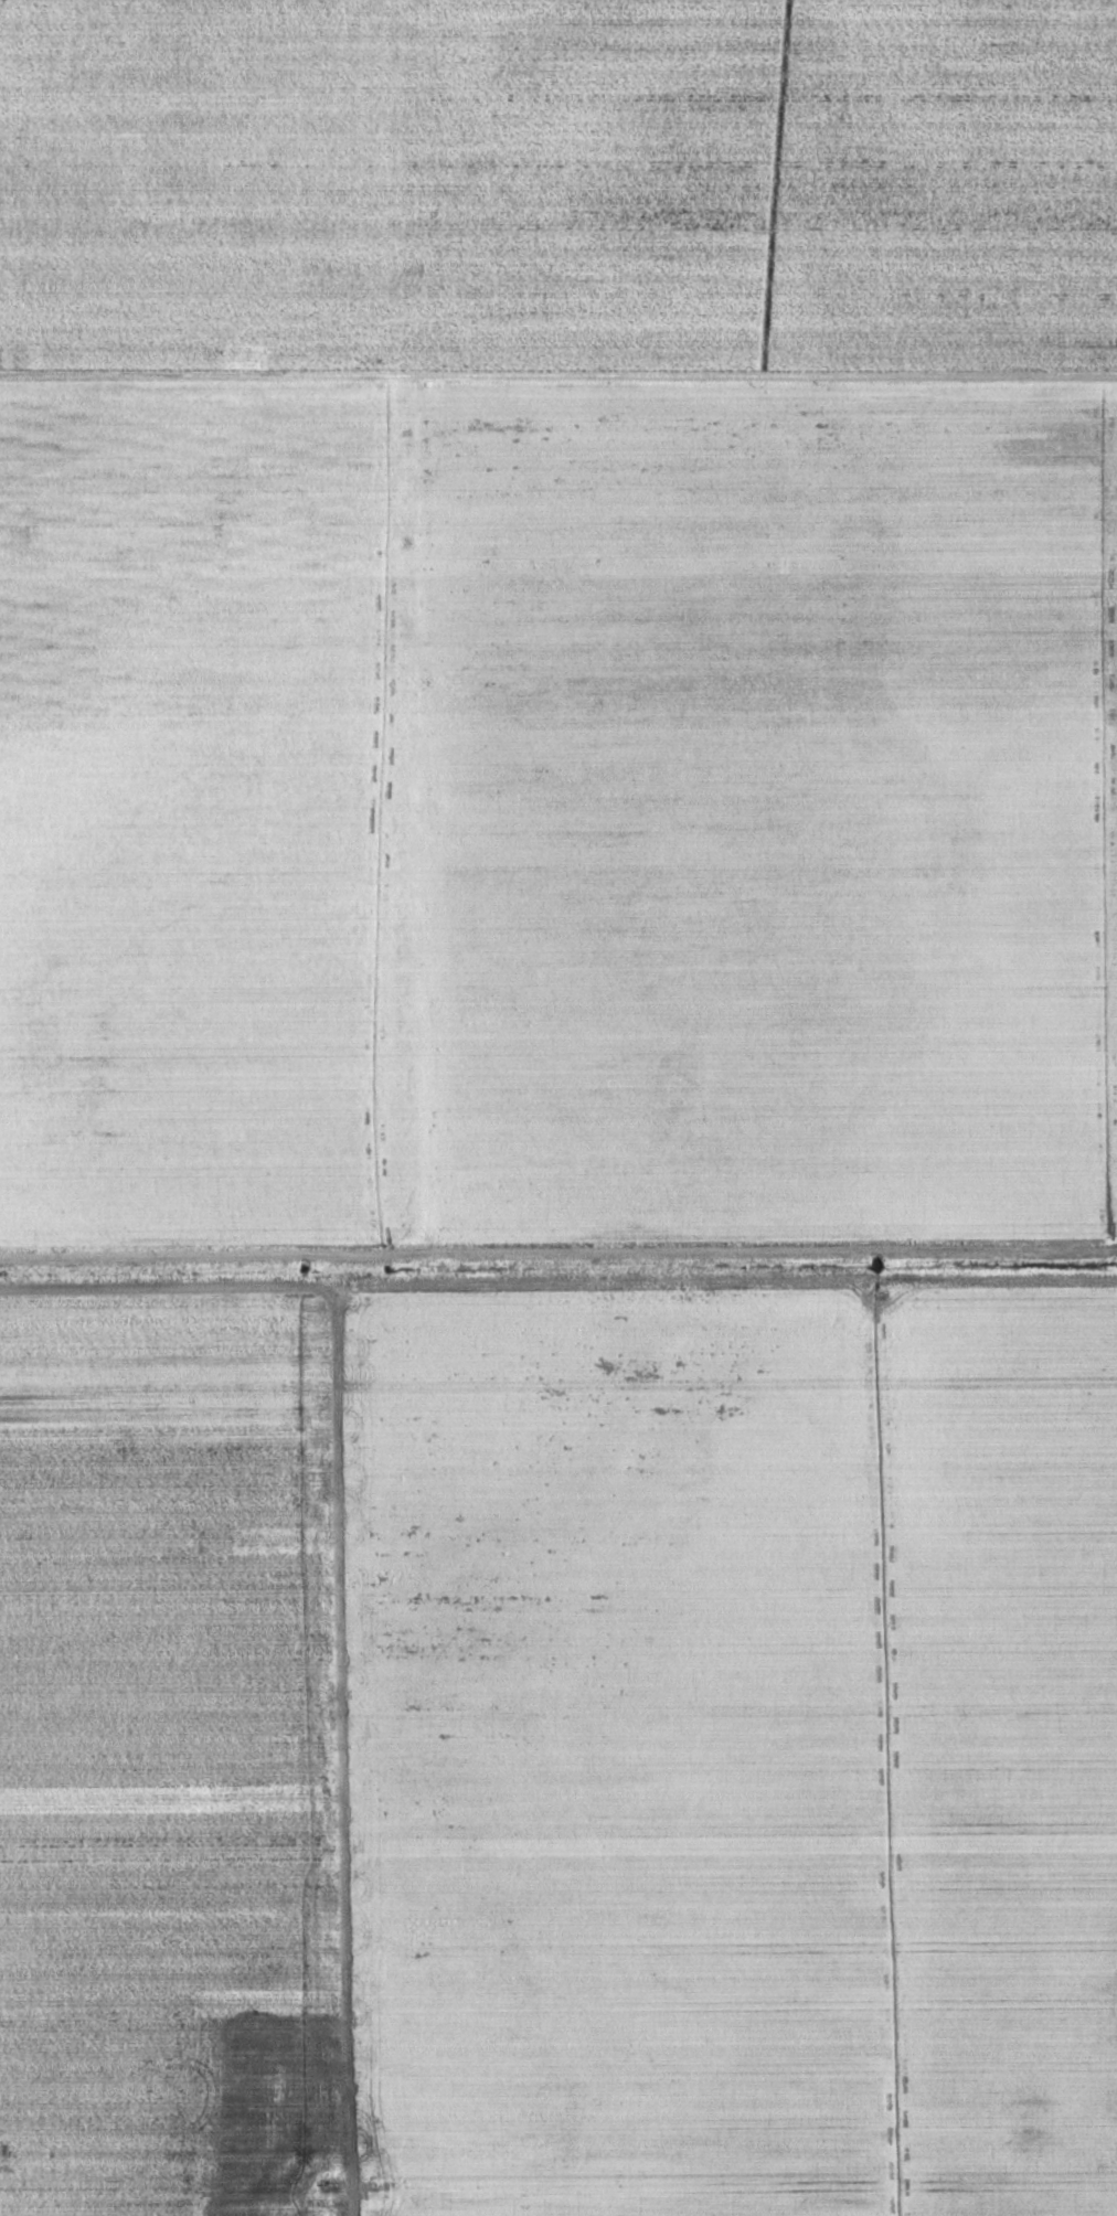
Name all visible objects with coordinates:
road: (558, 381)

